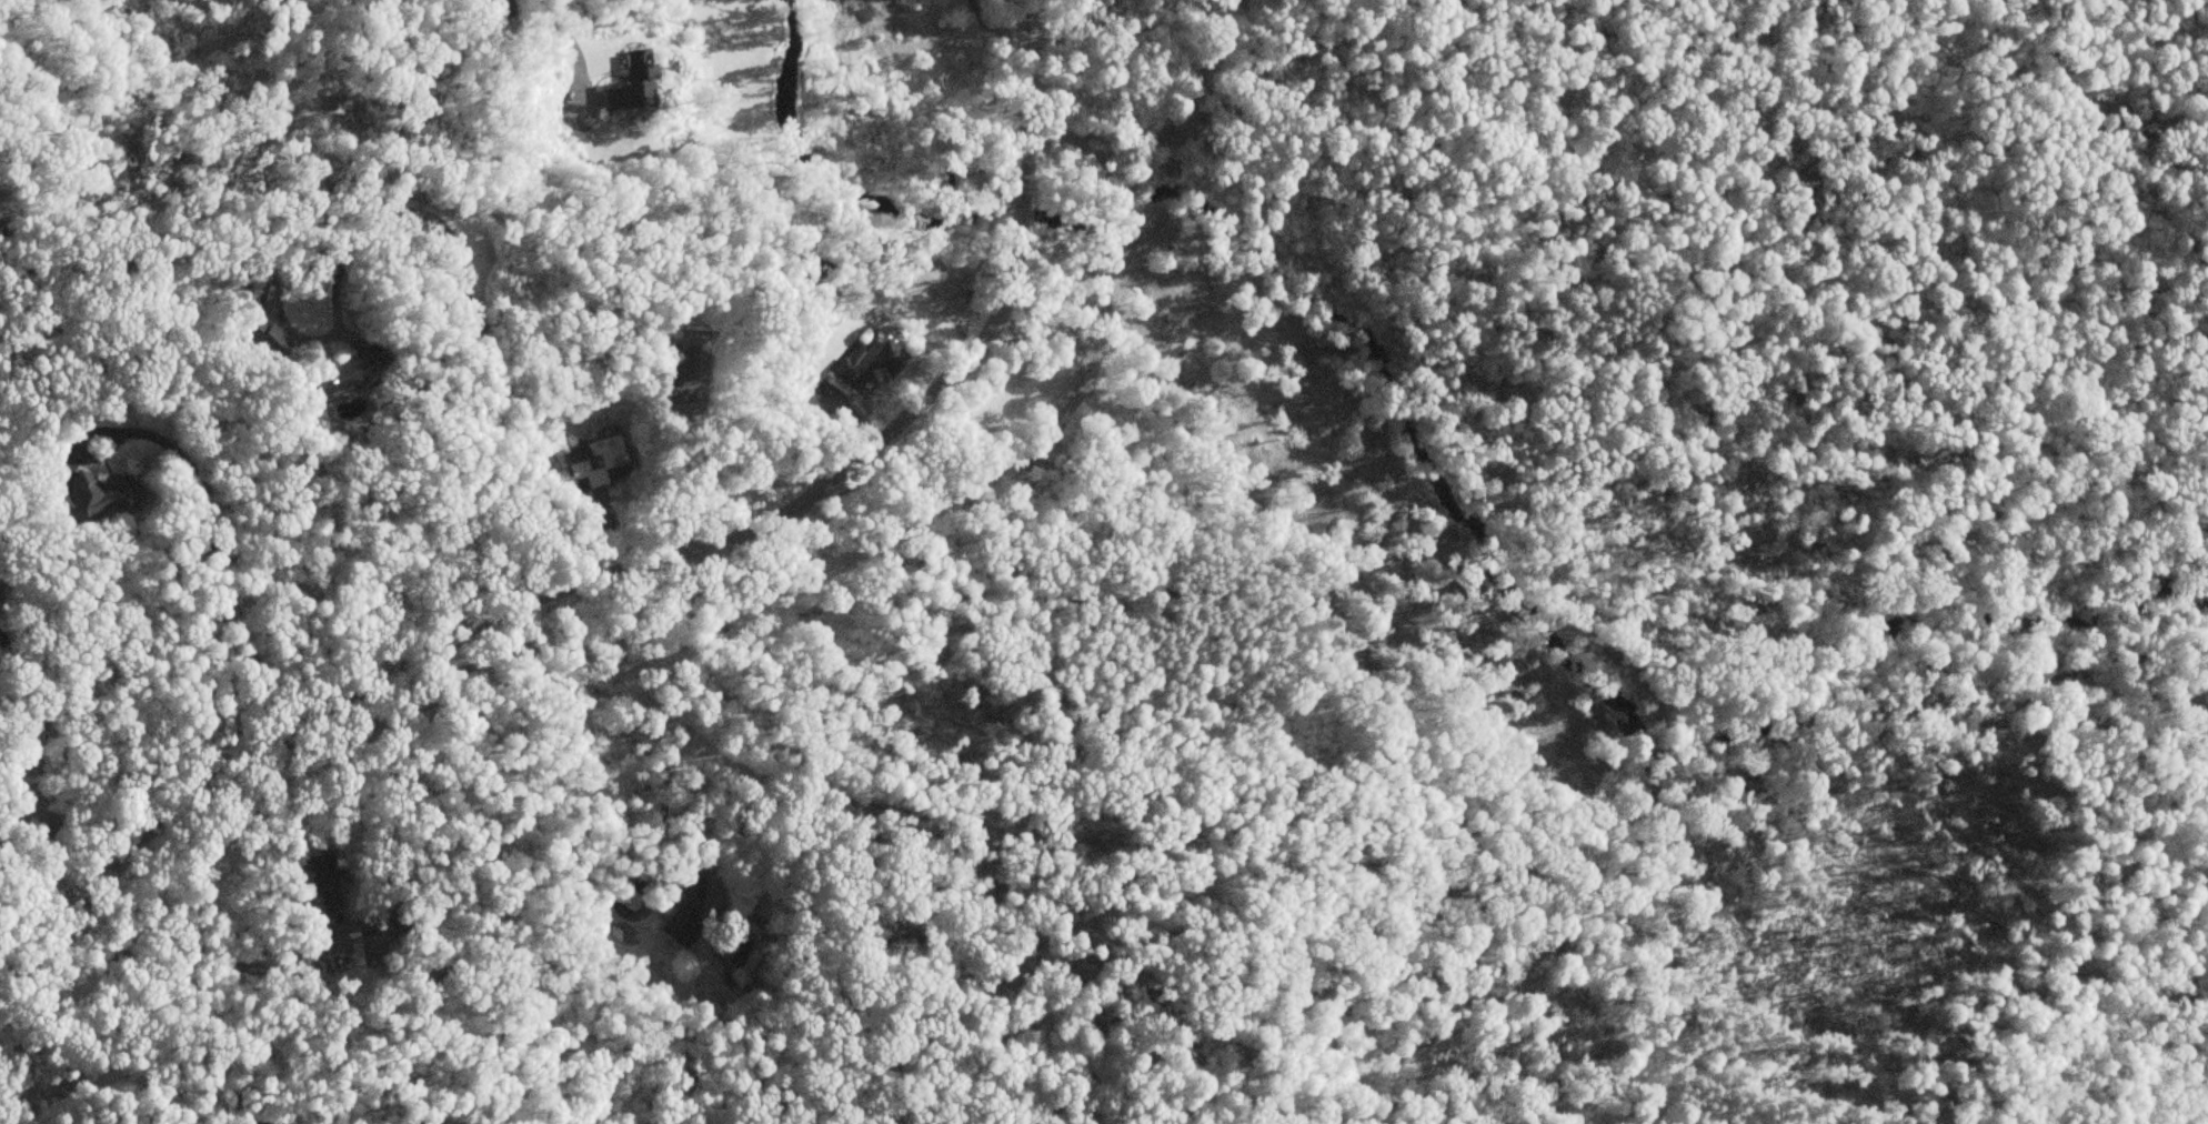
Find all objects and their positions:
road: (991, 28)
road: (516, 38)
road: (576, 61)
building: (629, 83)
road: (589, 93)
building: (789, 312)
road: (476, 327)
building: (265, 340)
building: (867, 352)
building: (344, 374)
building: (595, 462)
building: (92, 499)
road: (210, 543)
road: (628, 570)
road: (583, 711)
road: (11, 791)
road: (659, 827)
building: (322, 881)
building: (690, 894)
road: (628, 915)
building: (676, 932)
road: (247, 962)
road: (10, 1072)
building: (403, 1123)

